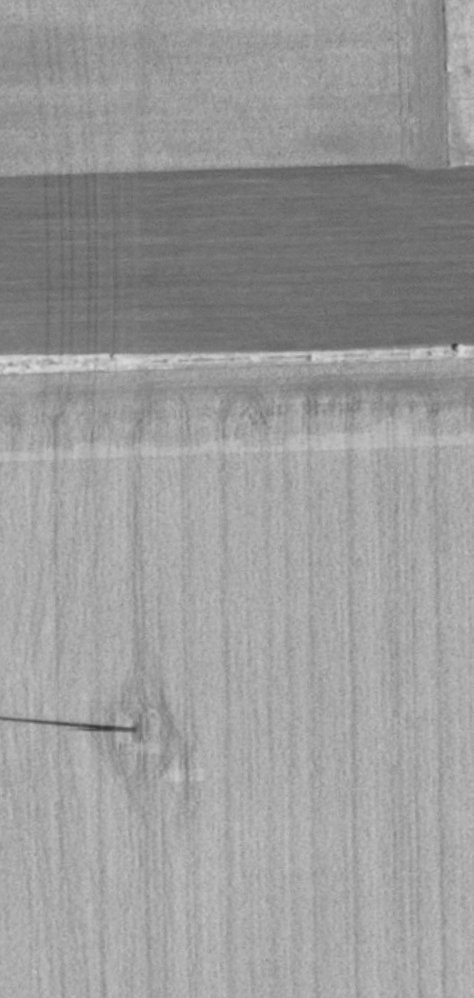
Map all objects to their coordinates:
power tower: (142, 726)

